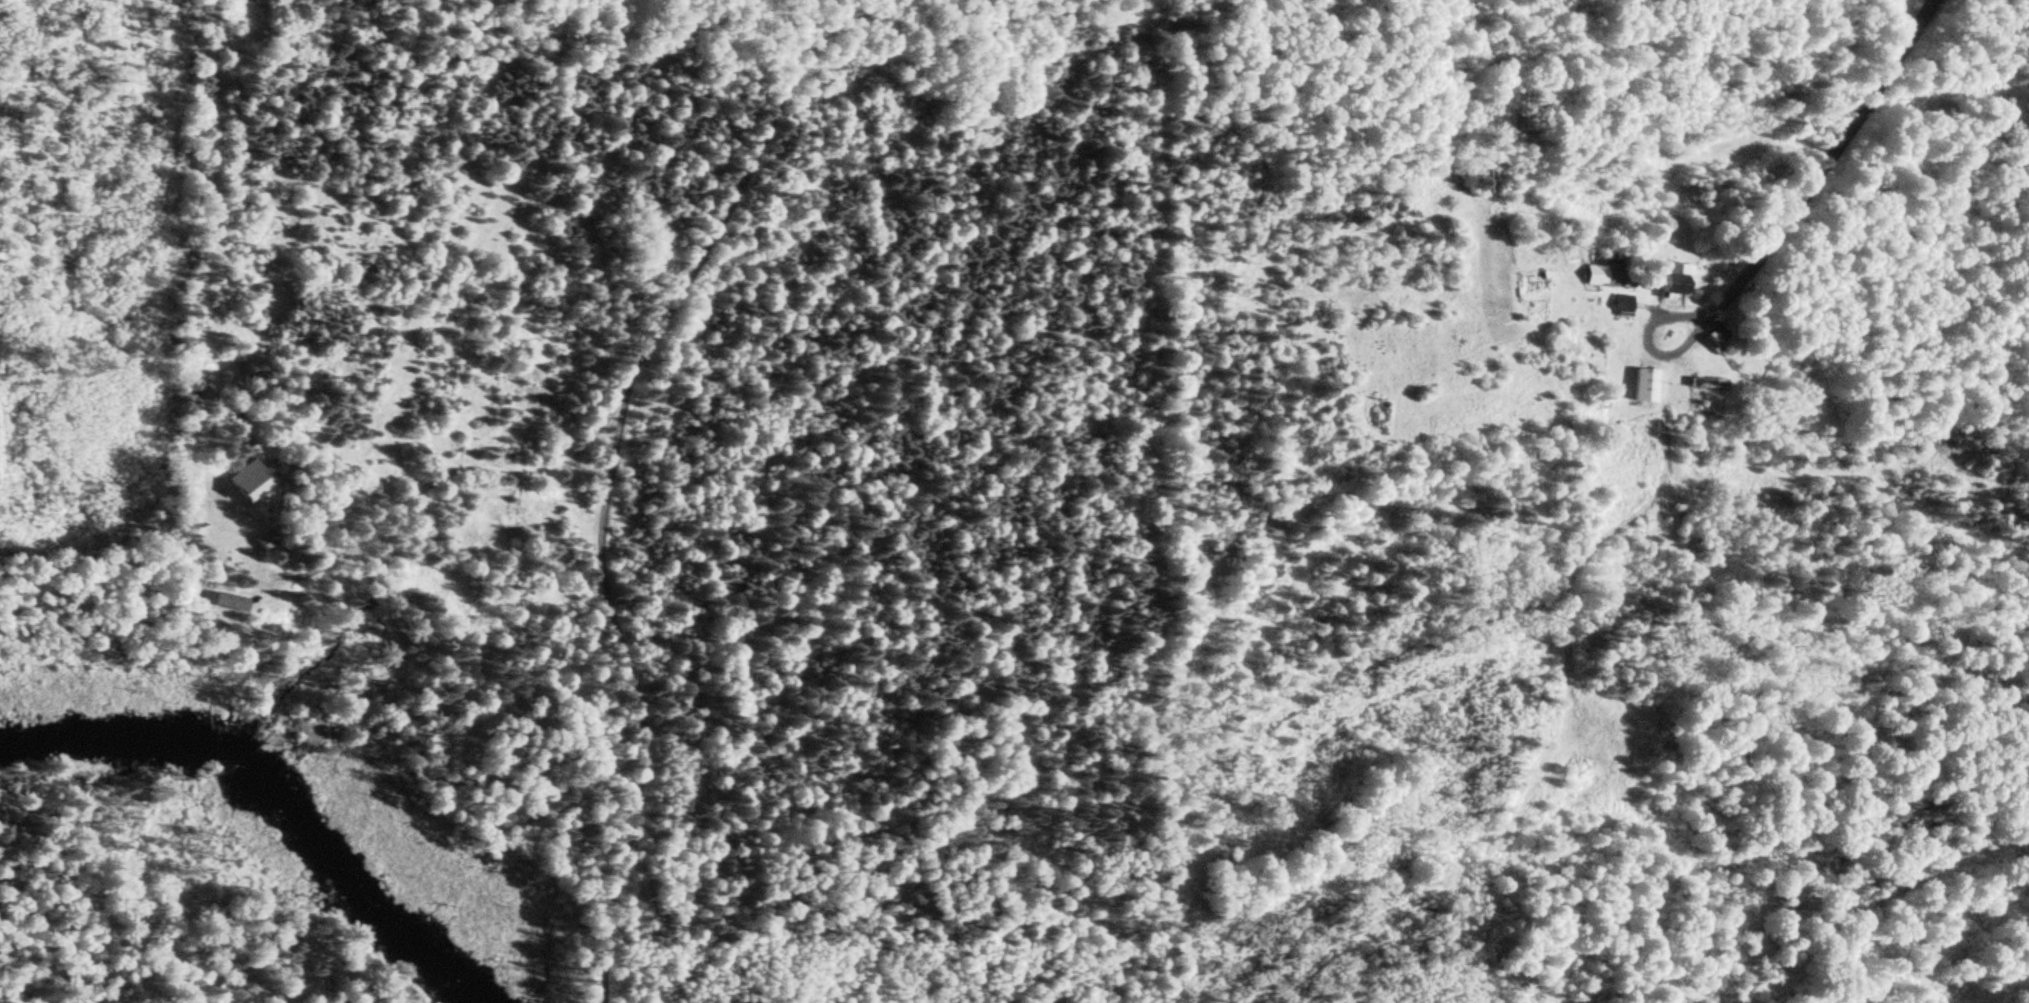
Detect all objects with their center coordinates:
road: (1805, 153)
building: (1599, 276)
building: (1673, 277)
building: (1621, 304)
building: (1643, 384)
road: (603, 481)
building: (261, 539)
building: (224, 601)
river: (259, 803)

